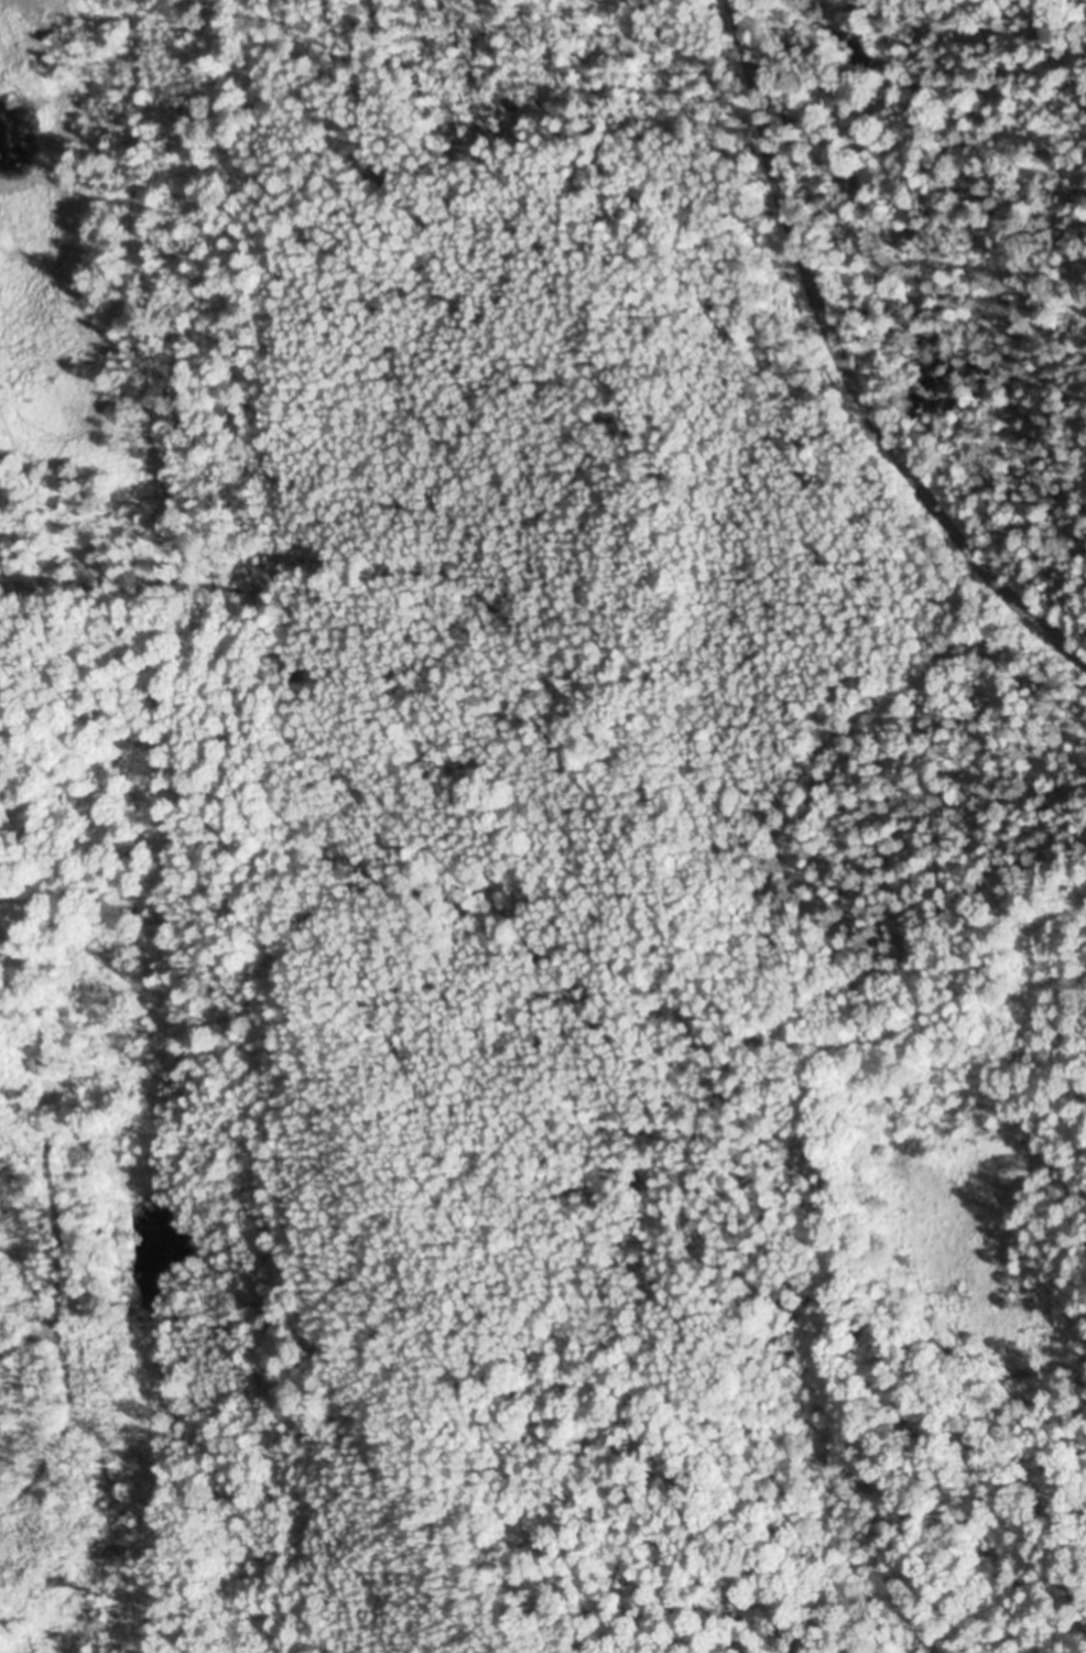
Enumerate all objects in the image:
road: (834, 371)
road: (1007, 948)

